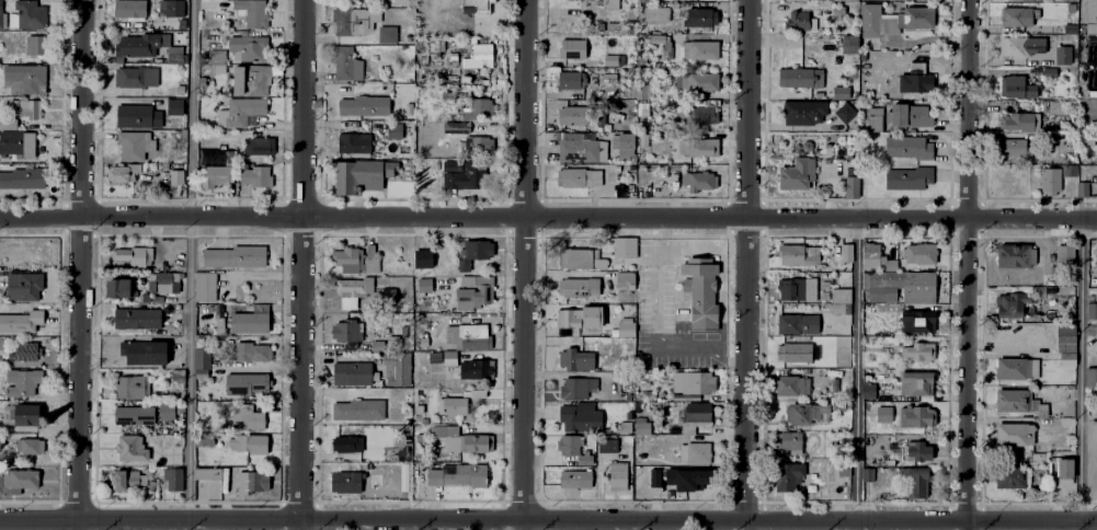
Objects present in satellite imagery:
building: (642, 0)
building: (848, 0)
building: (1019, 0)
building: (399, 1)
building: (478, 4)
building: (612, 4)
building: (127, 8)
building: (170, 8)
building: (253, 11)
road: (425, 11)
building: (629, 12)
building: (654, 12)
building: (28, 13)
building: (696, 14)
building: (1014, 15)
building: (1092, 15)
building: (1, 19)
building: (891, 19)
building: (352, 20)
building: (796, 20)
building: (610, 25)
building: (1070, 27)
building: (385, 33)
building: (654, 39)
building: (36, 43)
building: (433, 43)
building: (139, 44)
building: (848, 44)
building: (248, 46)
building: (1021, 46)
building: (572, 48)
building: (698, 48)
building: (1061, 54)
building: (174, 55)
building: (216, 55)
building: (477, 56)
building: (608, 59)
building: (346, 65)
building: (213, 68)
building: (799, 77)
building: (25, 78)
building: (136, 78)
building: (251, 79)
building: (912, 79)
building: (697, 80)
building: (569, 82)
building: (1018, 88)
building: (180, 90)
building: (838, 91)
building: (642, 92)
building: (405, 105)
building: (175, 106)
building: (364, 106)
building: (25, 107)
building: (1056, 107)
building: (481, 110)
building: (642, 110)
building: (239, 111)
building: (628, 111)
building: (843, 111)
building: (804, 115)
building: (134, 116)
building: (581, 116)
building: (697, 116)
building: (910, 116)
building: (876, 120)
building: (1019, 122)
building: (9, 124)
building: (456, 128)
building: (178, 130)
building: (395, 130)
building: (183, 132)
building: (1072, 139)
building: (1087, 139)
building: (642, 140)
building: (353, 143)
building: (625, 145)
building: (805, 145)
building: (18, 146)
building: (135, 146)
building: (259, 146)
building: (478, 146)
building: (695, 146)
building: (907, 147)
building: (1016, 149)
building: (582, 150)
building: (213, 154)
building: (230, 158)
building: (1070, 171)
building: (125, 174)
building: (361, 174)
building: (465, 174)
building: (798, 174)
building: (213, 176)
building: (256, 176)
building: (22, 177)
building: (176, 177)
building: (579, 177)
building: (907, 177)
building: (157, 180)
building: (1050, 181)
building: (701, 182)
building: (850, 188)
building: (1083, 188)
road: (548, 217)
road: (665, 231)
building: (624, 244)
road: (664, 246)
building: (370, 252)
building: (471, 252)
building: (846, 253)
building: (918, 254)
building: (1062, 254)
building: (1096, 254)
building: (136, 256)
building: (799, 256)
building: (1015, 256)
building: (236, 257)
building: (877, 258)
building: (350, 260)
building: (423, 260)
building: (579, 260)
road: (79, 264)
road: (191, 264)
road: (300, 264)
road: (523, 264)
road: (745, 265)
road: (967, 265)
building: (164, 281)
parking lot: (654, 285)
building: (425, 286)
building: (23, 287)
building: (205, 287)
building: (624, 287)
building: (121, 288)
building: (579, 288)
building: (899, 288)
building: (797, 290)
building: (699, 292)
building: (348, 293)
building: (387, 295)
building: (475, 295)
building: (842, 296)
building: (146, 298)
building: (157, 298)
building: (1013, 303)
building: (1092, 311)
building: (592, 318)
building: (138, 319)
building: (569, 319)
building: (915, 319)
building: (214, 320)
building: (21, 322)
building: (249, 323)
building: (797, 324)
building: (626, 330)
building: (346, 331)
building: (467, 335)
building: (1066, 338)
building: (842, 342)
building: (392, 343)
building: (377, 345)
building: (917, 352)
building: (23, 353)
building: (142, 353)
building: (251, 353)
building: (798, 353)
building: (435, 358)
building: (202, 359)
building: (578, 360)
building: (1067, 360)
building: (469, 366)
building: (397, 369)
building: (1017, 369)
building: (352, 373)
road: (856, 373)
road: (1079, 373)
building: (202, 375)
building: (176, 377)
building: (1092, 377)
building: (22, 382)
building: (693, 383)
building: (916, 383)
building: (247, 384)
building: (133, 387)
building: (791, 387)
building: (50, 389)
building: (578, 389)
building: (174, 390)
building: (158, 393)
building: (868, 395)
building: (686, 397)
building: (1014, 401)
building: (449, 405)
building: (848, 405)
building: (838, 408)
building: (867, 408)
building: (167, 411)
building: (358, 411)
building: (1043, 411)
building: (805, 414)
building: (8, 415)
building: (134, 415)
building: (884, 415)
building: (579, 416)
building: (247, 417)
building: (918, 417)
building: (640, 419)
building: (26, 420)
building: (694, 422)
building: (624, 428)
building: (641, 428)
building: (1014, 435)
building: (449, 437)
building: (204, 440)
building: (788, 440)
building: (568, 443)
building: (251, 445)
building: (348, 445)
building: (480, 445)
building: (607, 446)
building: (31, 447)
building: (132, 449)
building: (918, 451)
building: (171, 453)
building: (697, 456)
building: (585, 459)
building: (1051, 469)
building: (1066, 469)
building: (208, 474)
building: (902, 474)
building: (867, 475)
building: (457, 476)
building: (618, 476)
building: (127, 477)
building: (404, 477)
building: (789, 477)
building: (1012, 477)
building: (21, 479)
building: (173, 479)
building: (575, 479)
building: (652, 480)
building: (694, 480)
building: (252, 482)
building: (350, 482)
building: (919, 485)
road: (548, 519)

